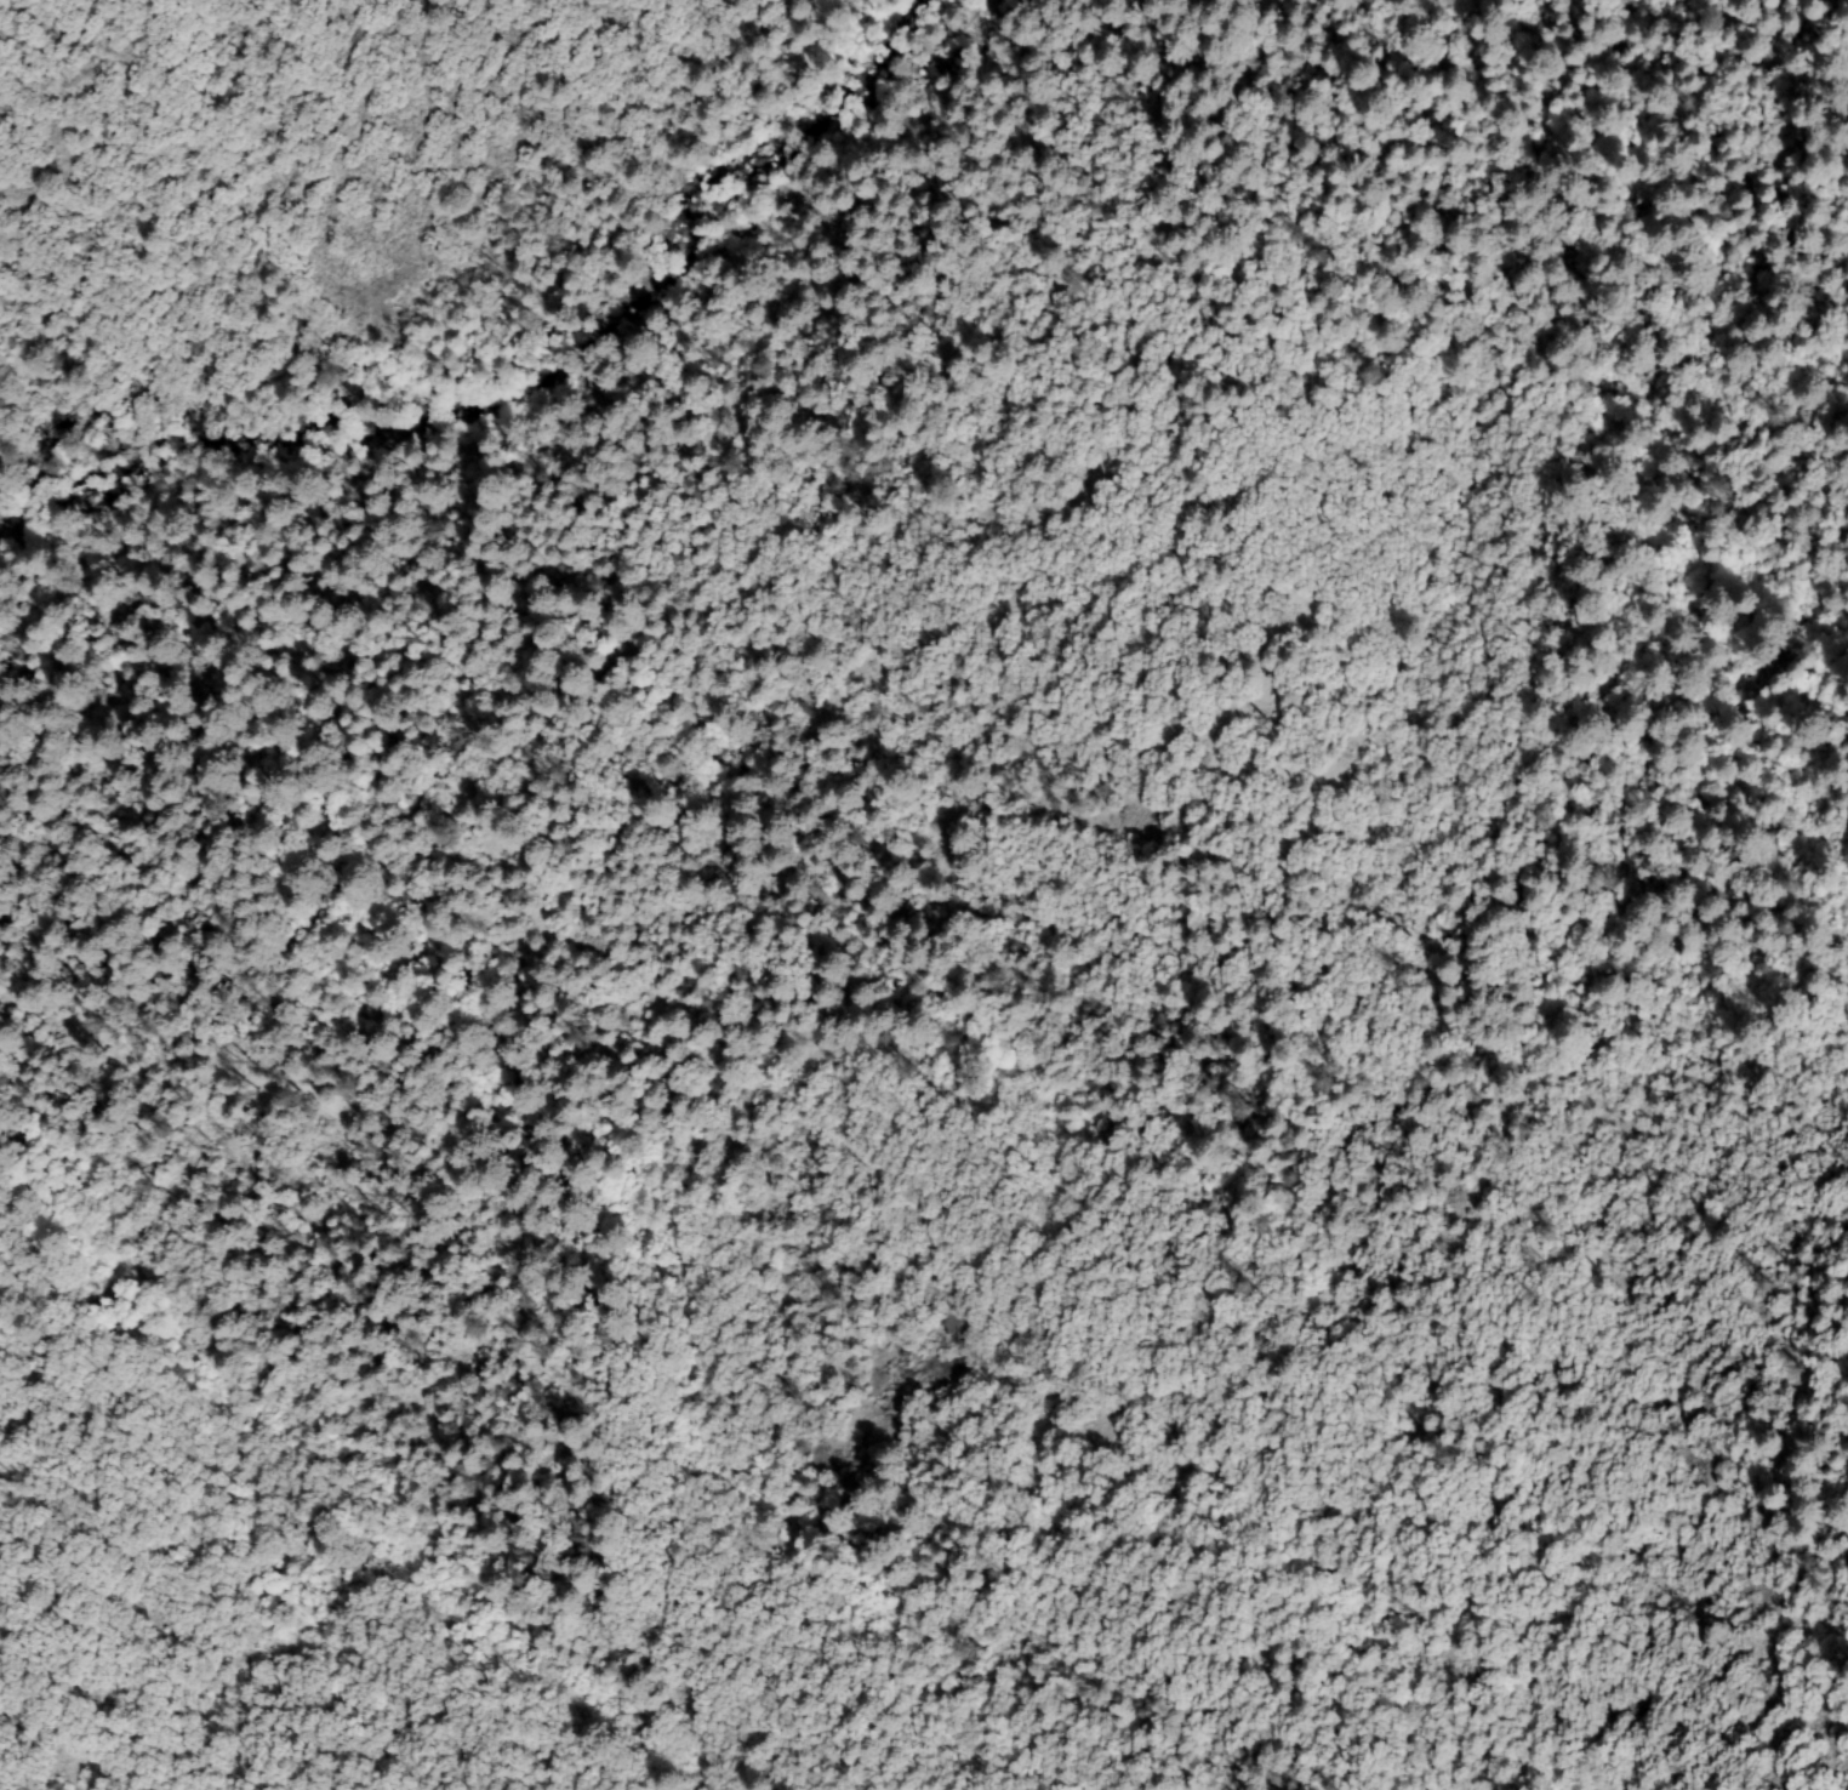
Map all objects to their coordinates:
river: (514, 307)

